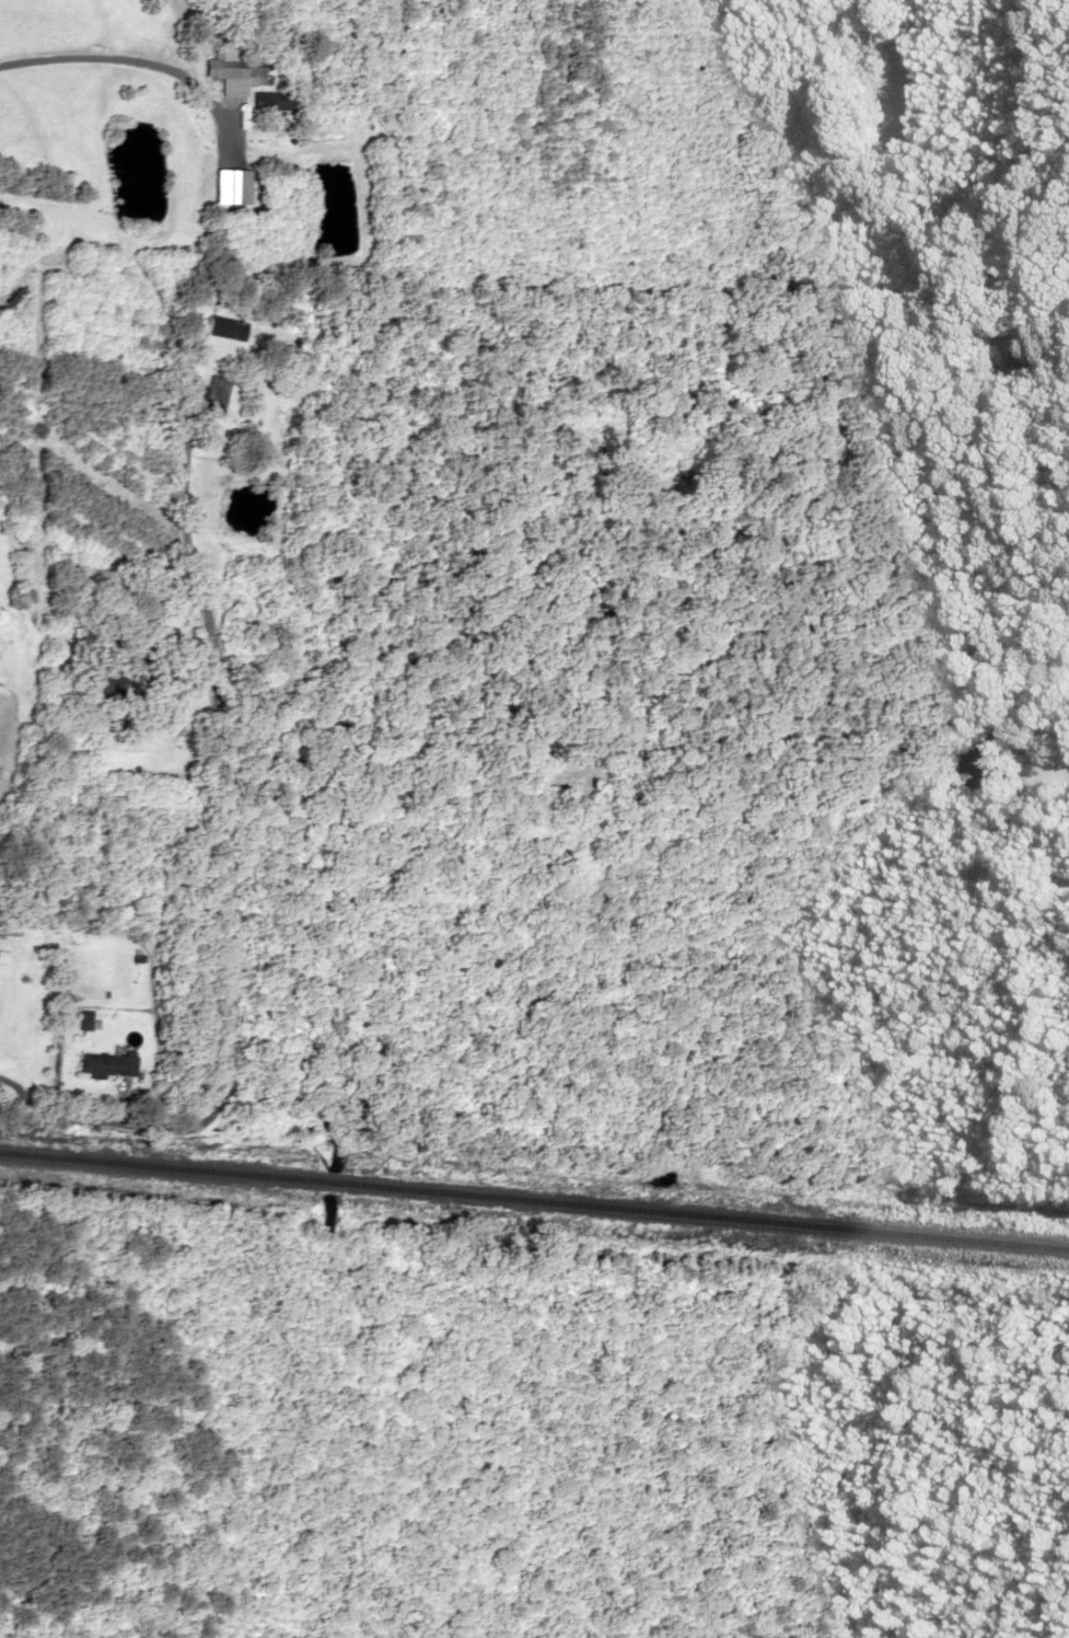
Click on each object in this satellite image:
building: (234, 67)
building: (271, 101)
building: (269, 132)
building: (225, 327)
building: (1035, 359)
building: (213, 393)
road: (219, 807)
building: (109, 1064)
railway: (534, 1192)

